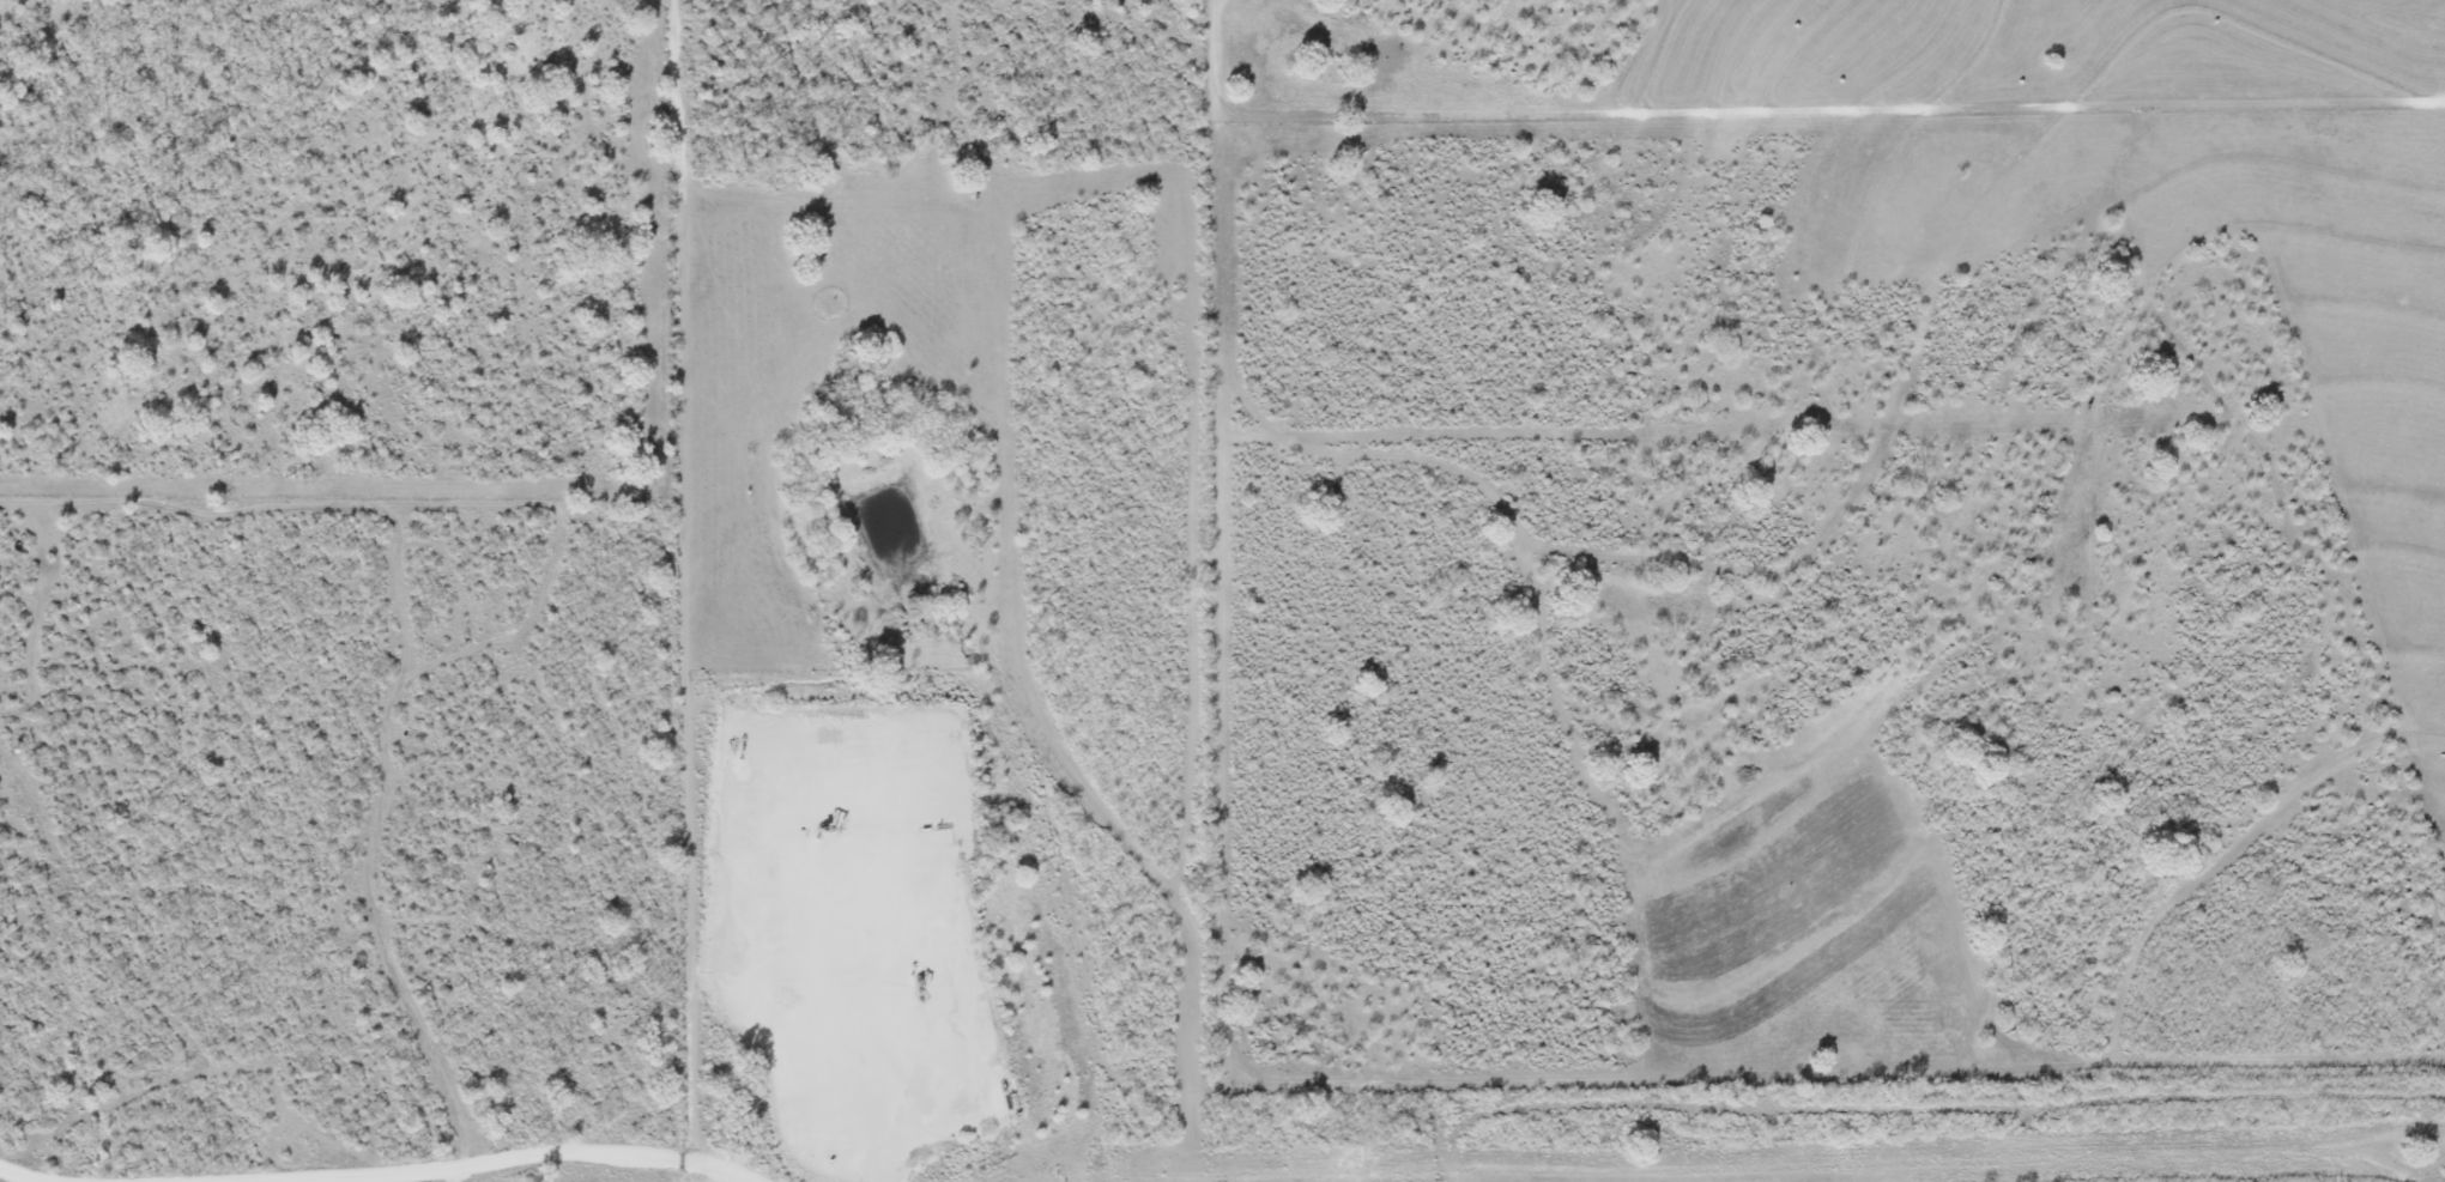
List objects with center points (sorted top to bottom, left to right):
river: (28, 61)
road: (880, 956)
road: (414, 1163)
road: (7, 1177)

